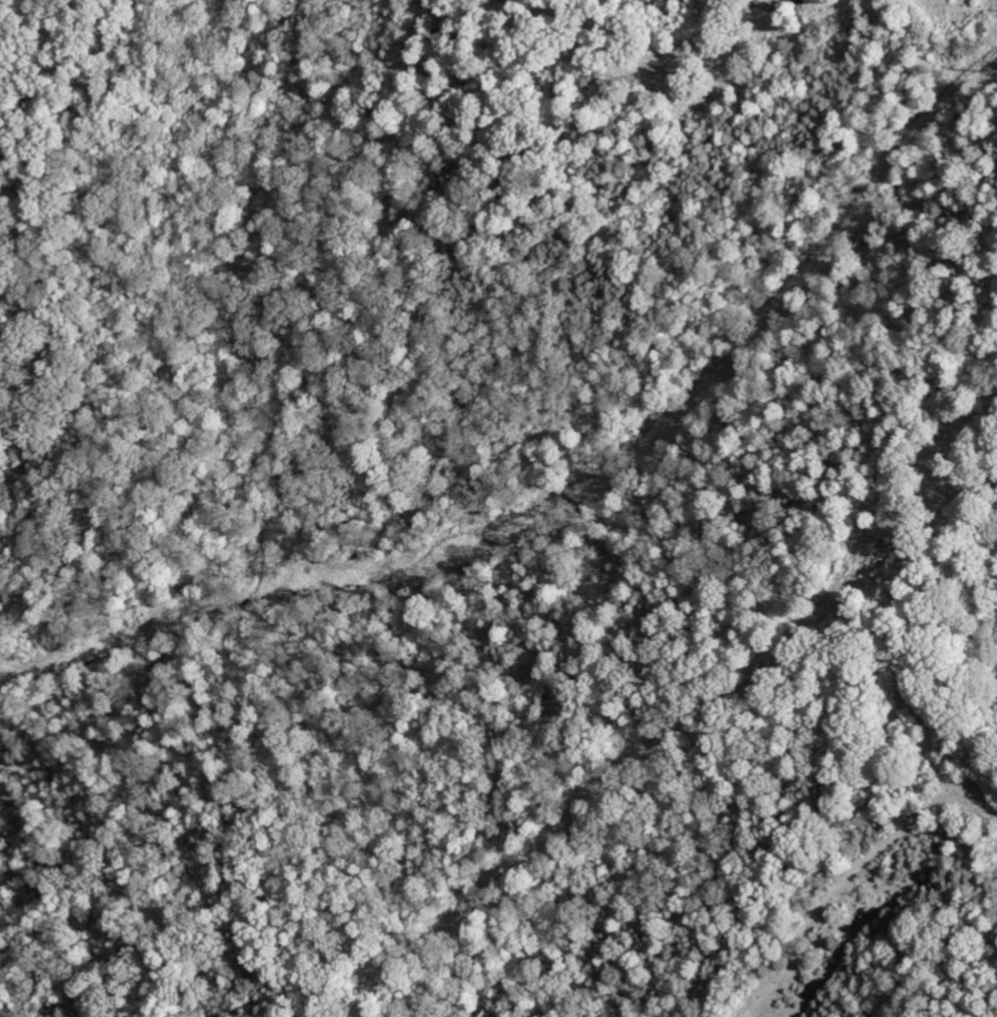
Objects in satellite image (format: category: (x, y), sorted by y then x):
road: (901, 650)
road: (851, 865)

